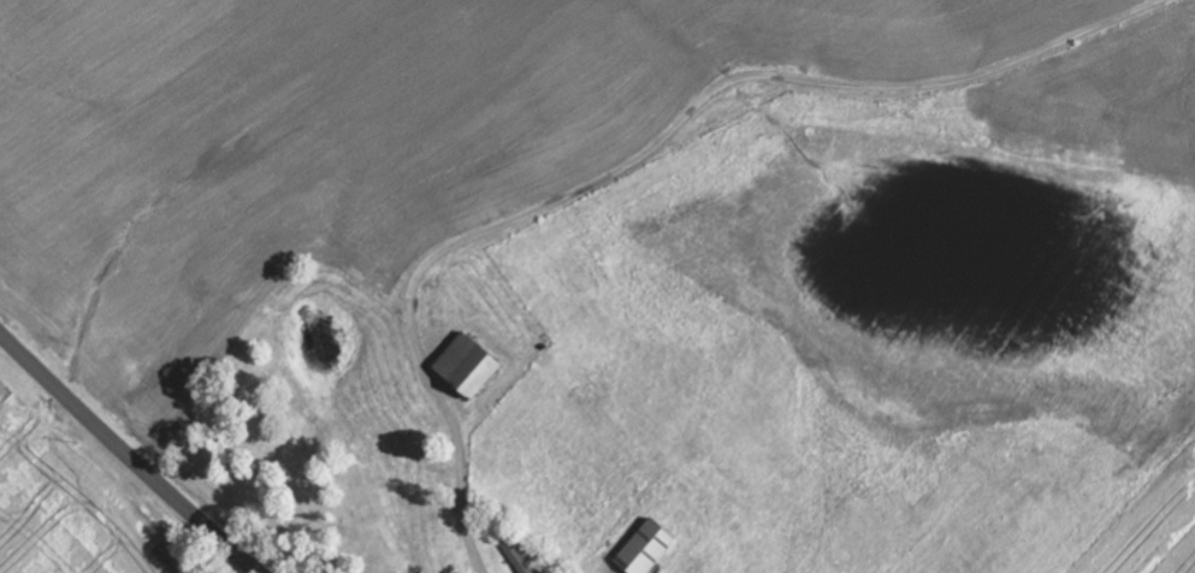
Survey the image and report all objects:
building: (472, 366)
road: (128, 454)
building: (650, 548)
building: (519, 556)

